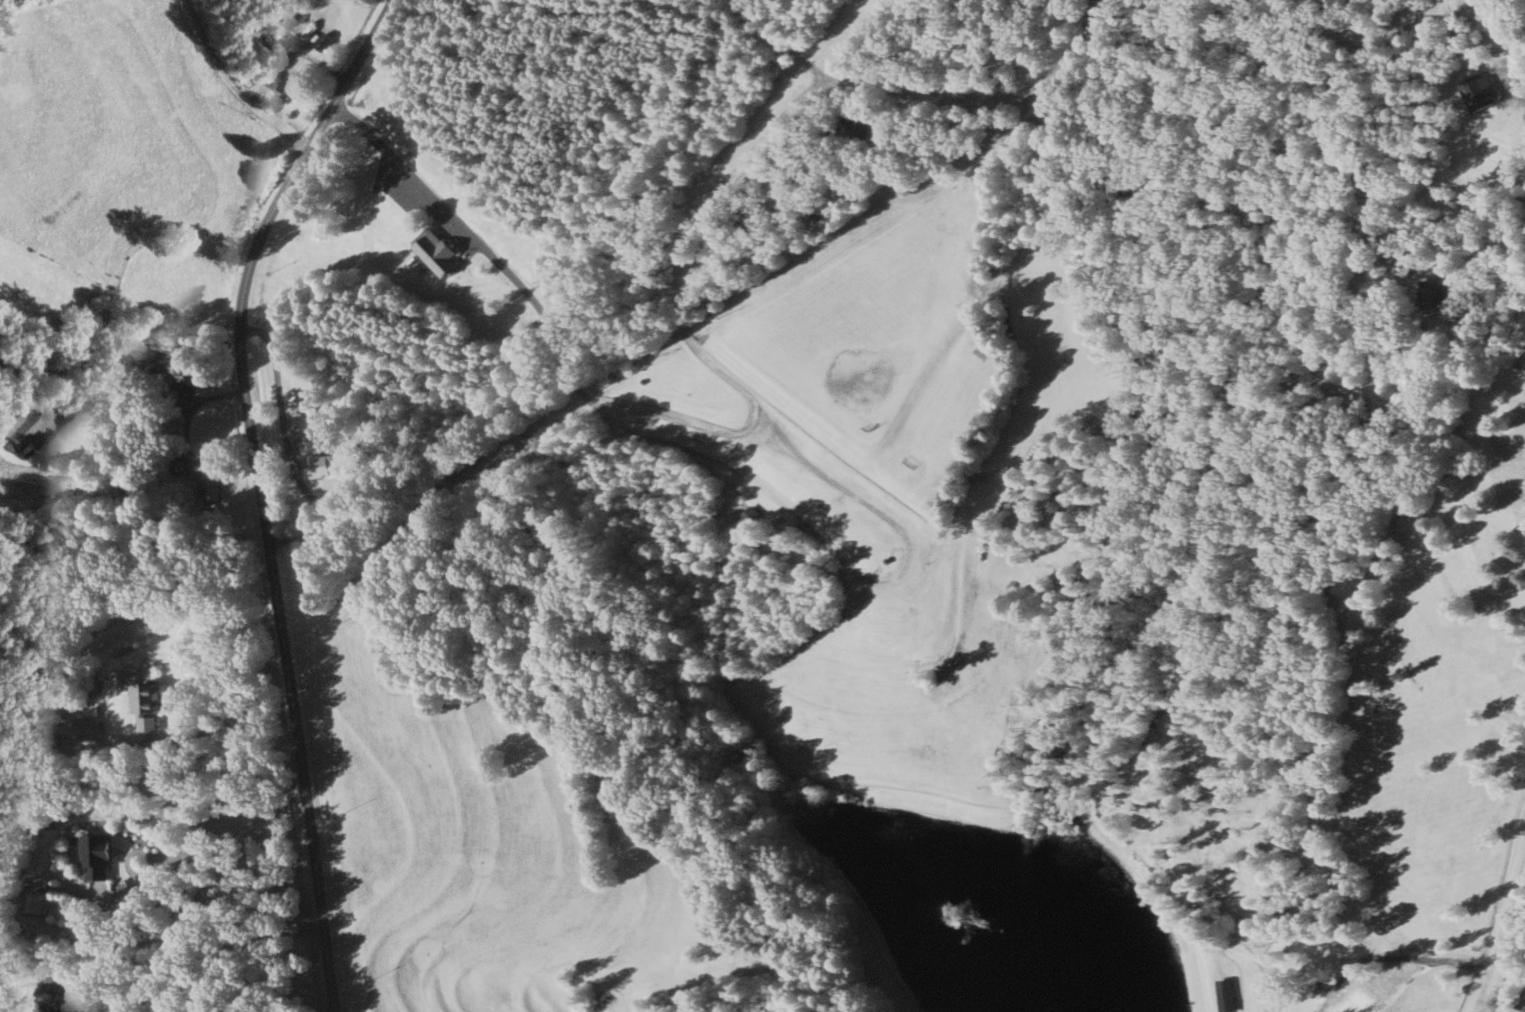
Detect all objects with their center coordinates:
road: (1500, 40)
building: (276, 41)
building: (324, 41)
road: (773, 42)
building: (1014, 51)
road: (233, 83)
building: (292, 87)
building: (1479, 92)
road: (791, 109)
building: (859, 124)
building: (747, 217)
building: (434, 250)
building: (1404, 264)
building: (1432, 295)
road: (533, 301)
building: (300, 398)
building: (21, 429)
building: (318, 466)
building: (209, 479)
road: (256, 489)
building: (744, 520)
building: (145, 703)
building: (86, 728)
building: (95, 853)
road: (208, 858)
building: (33, 901)
road: (1497, 916)
road: (1365, 957)
road: (1460, 960)
road: (1403, 982)
building: (1222, 995)
building: (53, 1004)

